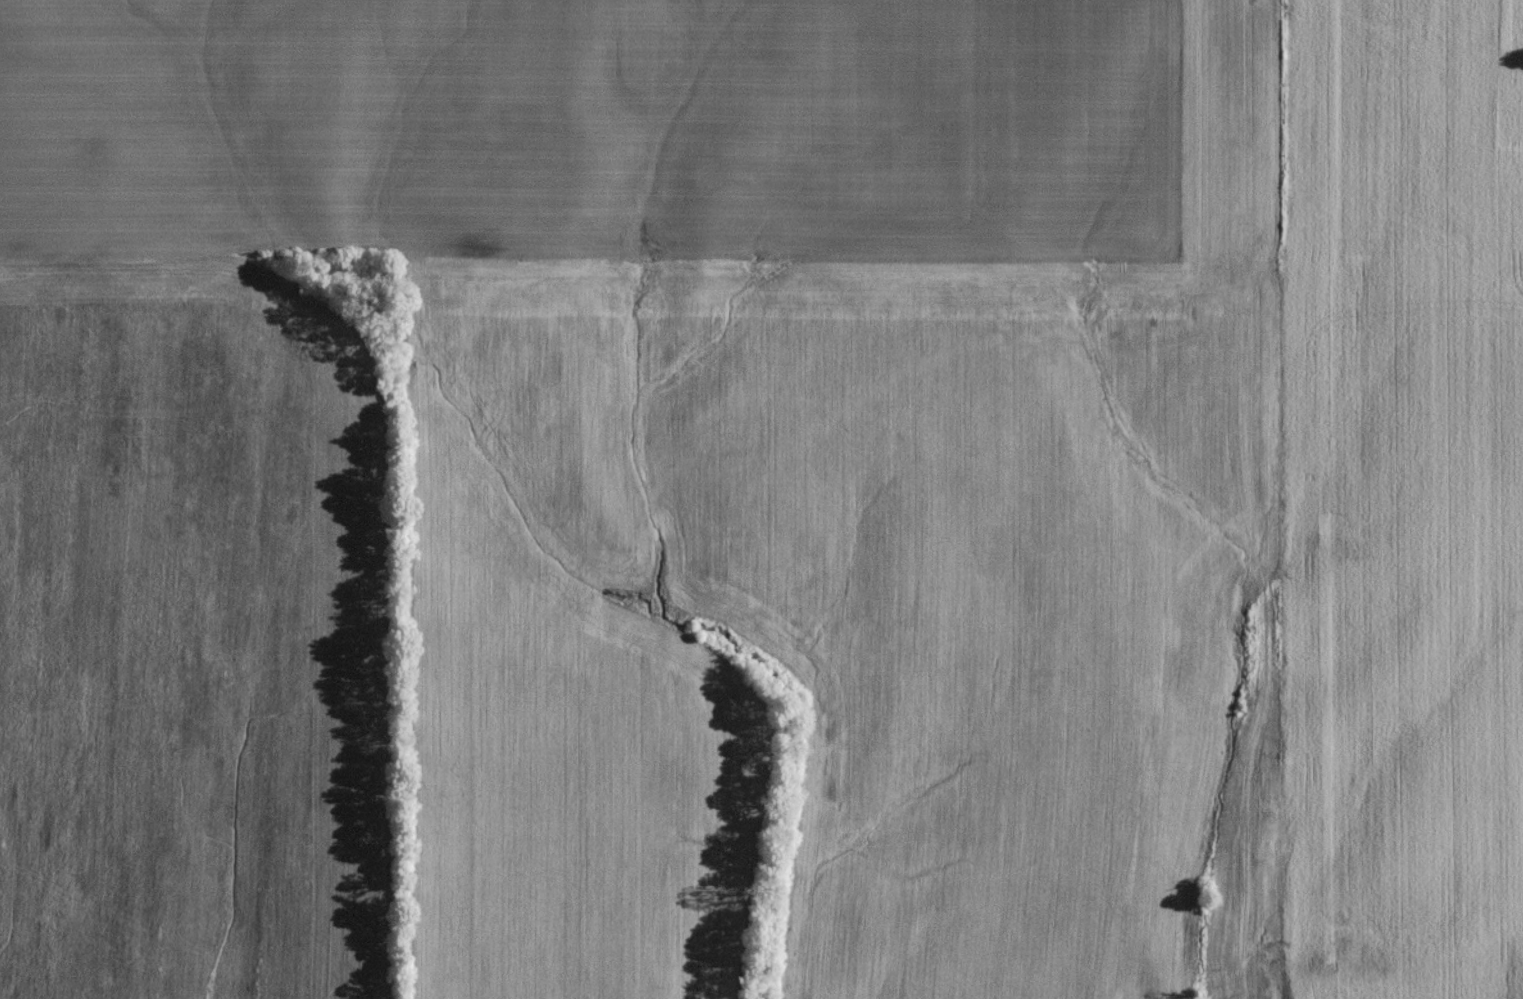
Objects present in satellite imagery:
road: (1271, 130)

